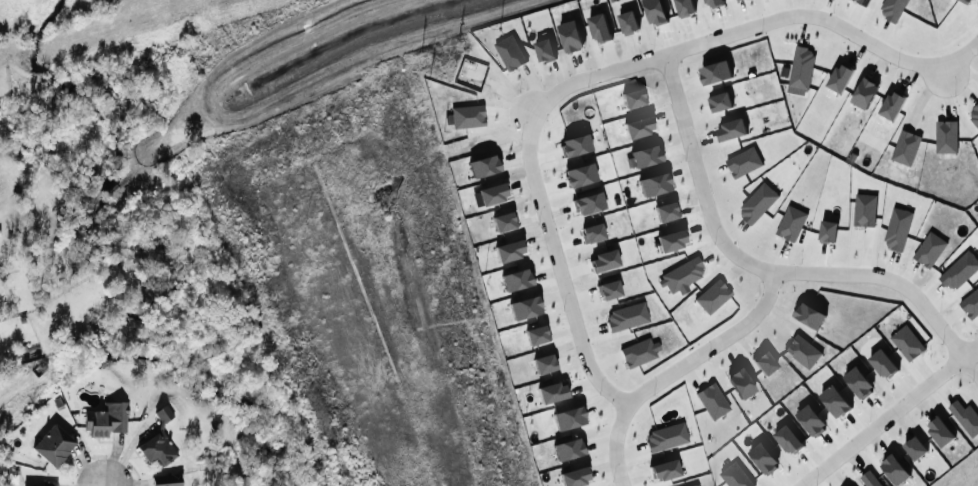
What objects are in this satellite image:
building: (964, 1)
building: (713, 2)
building: (861, 2)
building: (683, 7)
road: (797, 7)
road: (777, 8)
road: (825, 8)
building: (891, 8)
building: (655, 11)
street lamp: (831, 11)
road: (744, 14)
road: (852, 17)
road: (827, 19)
building: (627, 21)
road: (721, 21)
building: (598, 27)
road: (804, 29)
road: (687, 31)
street lamp: (760, 33)
road: (880, 33)
building: (569, 35)
road: (665, 38)
street lamp: (651, 48)
building: (544, 49)
road: (631, 49)
road: (855, 51)
building: (509, 52)
street lamp: (975, 54)
road: (609, 56)
road: (877, 64)
road: (576, 66)
building: (800, 67)
street lamp: (895, 67)
road: (960, 70)
building: (783, 71)
building: (714, 72)
road: (556, 74)
building: (822, 74)
building: (839, 77)
road: (909, 77)
street lamp: (660, 79)
road: (686, 83)
road: (957, 83)
road: (532, 87)
street lamp: (587, 87)
road: (499, 90)
street lamp: (517, 91)
road: (945, 91)
building: (863, 93)
road: (661, 94)
road: (922, 95)
street lamp: (953, 96)
building: (633, 97)
building: (718, 101)
road: (691, 104)
building: (891, 105)
road: (506, 112)
building: (974, 114)
building: (465, 116)
road: (666, 116)
building: (638, 126)
building: (731, 129)
building: (945, 135)
road: (701, 139)
street lamp: (519, 140)
building: (574, 145)
building: (904, 147)
road: (675, 148)
road: (544, 156)
building: (643, 156)
road: (514, 158)
street lamp: (684, 160)
building: (743, 161)
building: (484, 165)
road: (683, 172)
road: (713, 172)
building: (579, 175)
road: (520, 183)
building: (653, 184)
road: (550, 186)
building: (492, 193)
road: (538, 196)
building: (851, 197)
building: (757, 202)
building: (587, 203)
road: (693, 208)
building: (863, 209)
road: (556, 210)
building: (665, 211)
road: (530, 217)
building: (503, 221)
building: (790, 222)
street lamp: (537, 223)
building: (896, 228)
road: (700, 229)
building: (827, 230)
building: (591, 233)
road: (733, 233)
building: (670, 240)
road: (537, 241)
street lamp: (713, 243)
road: (567, 244)
building: (928, 249)
road: (864, 250)
building: (504, 252)
road: (713, 252)
road: (781, 256)
road: (818, 257)
building: (603, 260)
street lamp: (798, 262)
street lamp: (873, 265)
road: (891, 265)
road: (761, 268)
road: (574, 270)
building: (959, 270)
road: (734, 271)
road: (907, 272)
road: (547, 273)
building: (681, 274)
building: (516, 279)
building: (608, 289)
road: (930, 292)
road: (580, 293)
street lamp: (756, 295)
road: (553, 296)
building: (711, 296)
road: (780, 302)
building: (970, 303)
building: (524, 307)
street lamp: (562, 310)
street lamp: (938, 311)
building: (808, 314)
building: (626, 316)
road: (943, 321)
road: (774, 323)
road: (563, 331)
road: (592, 331)
building: (536, 334)
building: (906, 341)
street lamp: (941, 342)
road: (743, 343)
building: (801, 350)
road: (569, 351)
building: (638, 352)
road: (724, 355)
street lamp: (707, 360)
road: (605, 361)
building: (763, 362)
building: (544, 363)
building: (882, 363)
road: (970, 364)
road: (676, 369)
road: (922, 369)
road: (690, 377)
street lamp: (970, 380)
building: (857, 381)
building: (738, 382)
road: (582, 385)
road: (901, 386)
road: (942, 390)
building: (551, 392)
street lamp: (599, 394)
street lamp: (653, 395)
building: (834, 400)
building: (711, 401)
road: (598, 404)
road: (922, 406)
road: (875, 407)
road: (889, 414)
building: (965, 416)
building: (567, 418)
building: (105, 419)
building: (810, 419)
street lamp: (867, 420)
road: (855, 423)
road: (901, 423)
building: (939, 431)
building: (560, 433)
building: (665, 436)
building: (787, 439)
road: (600, 441)
road: (876, 443)
building: (53, 445)
road: (828, 445)
building: (914, 447)
building: (567, 449)
road: (630, 451)
building: (762, 457)
road: (853, 460)
road: (807, 462)
road: (603, 467)
building: (894, 468)
building: (663, 469)
building: (735, 475)
building: (574, 476)
road: (634, 477)
road: (827, 478)
building: (869, 478)
road: (777, 479)
building: (165, 480)
street lamp: (611, 481)
building: (49, 483)
road: (101, 485)
building: (692, 485)
street lamp: (814, 485)

